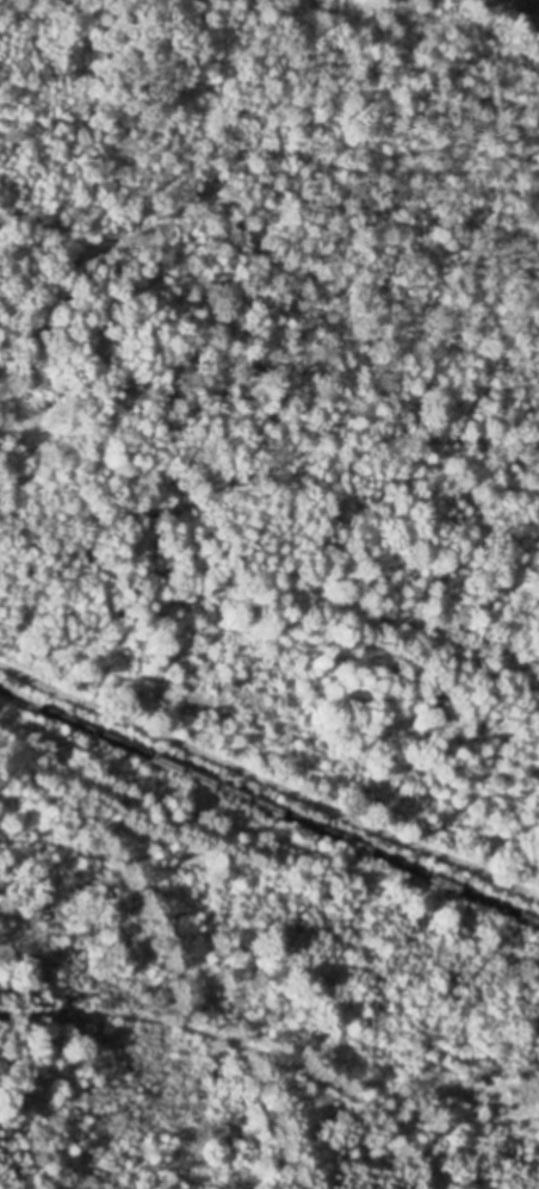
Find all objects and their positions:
railway: (269, 805)

